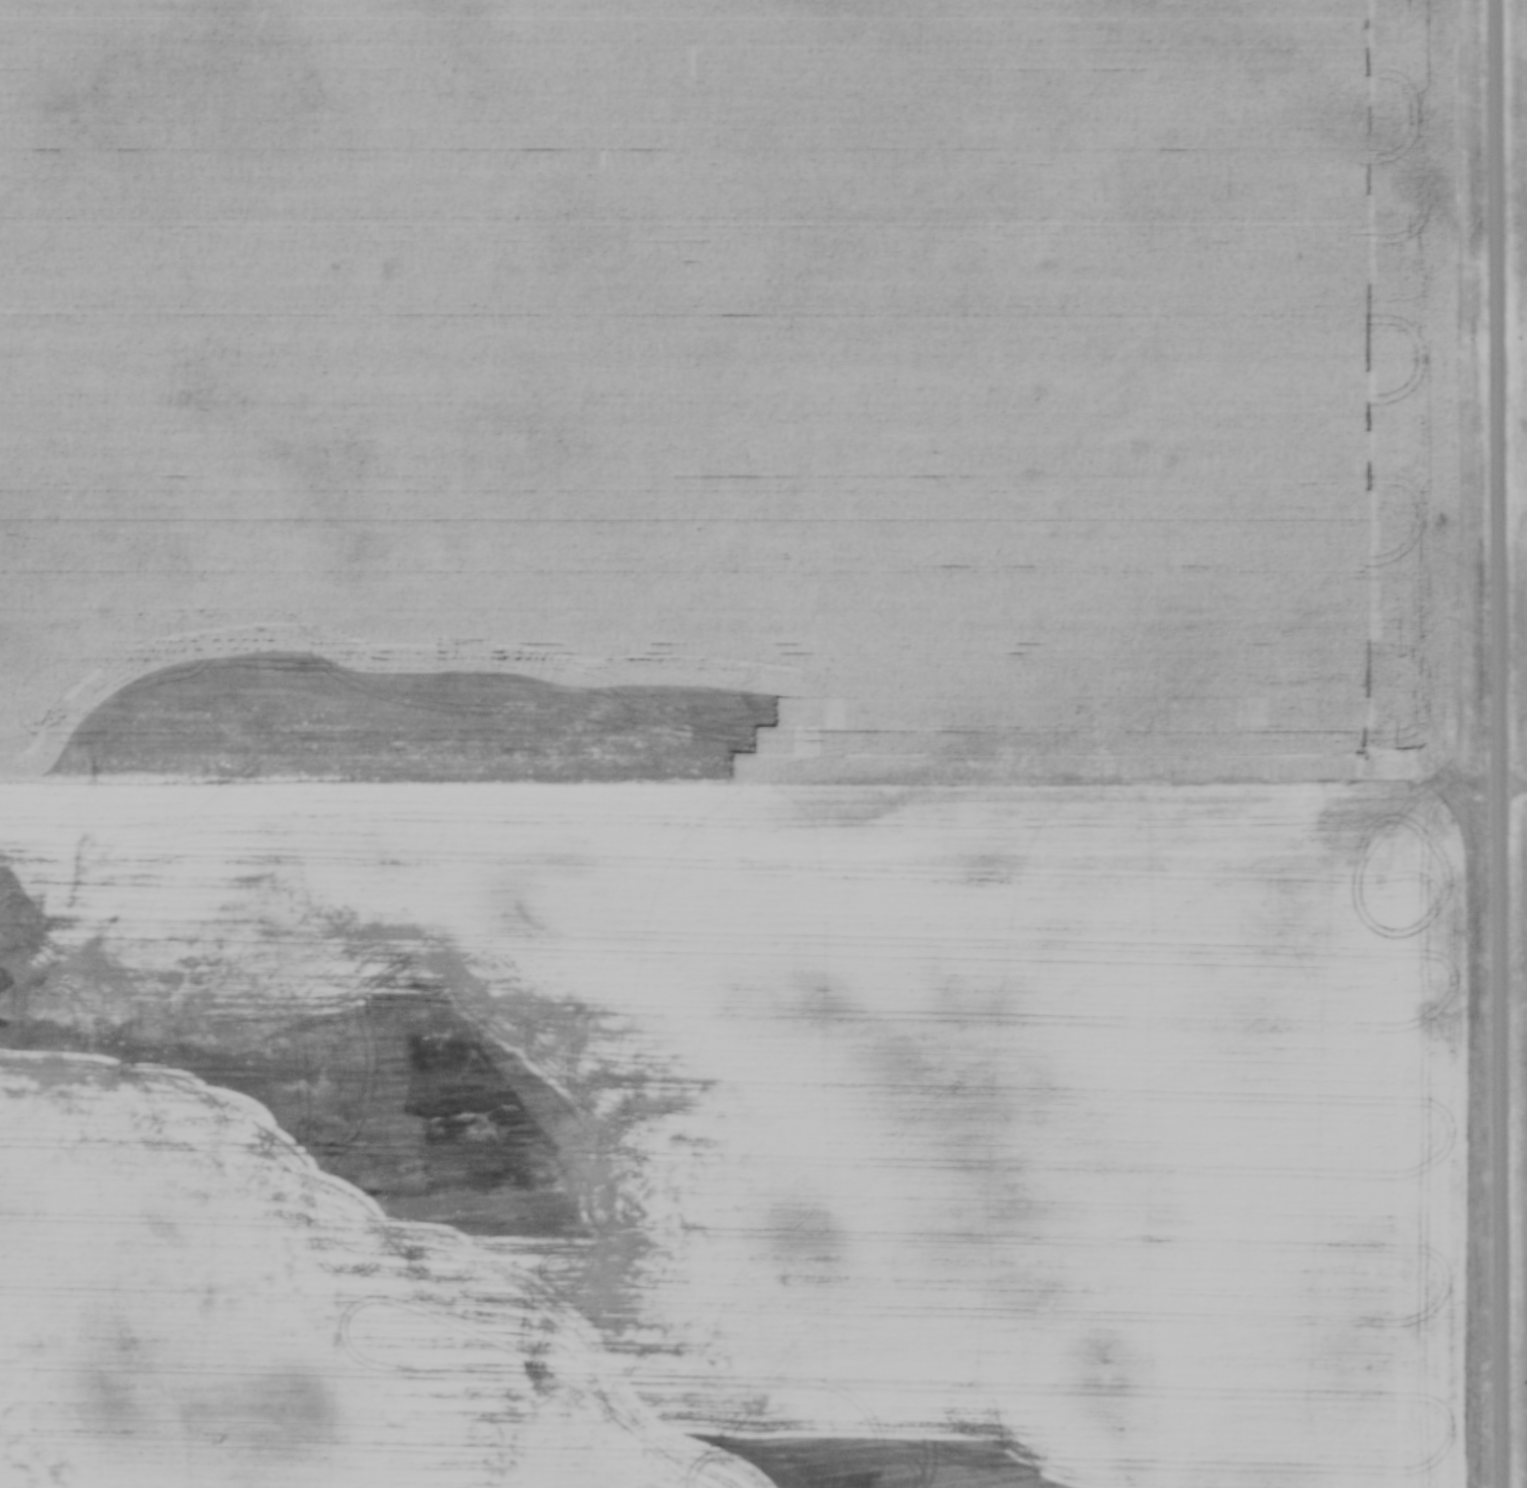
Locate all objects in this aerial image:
road: (1504, 743)
road: (1516, 787)

